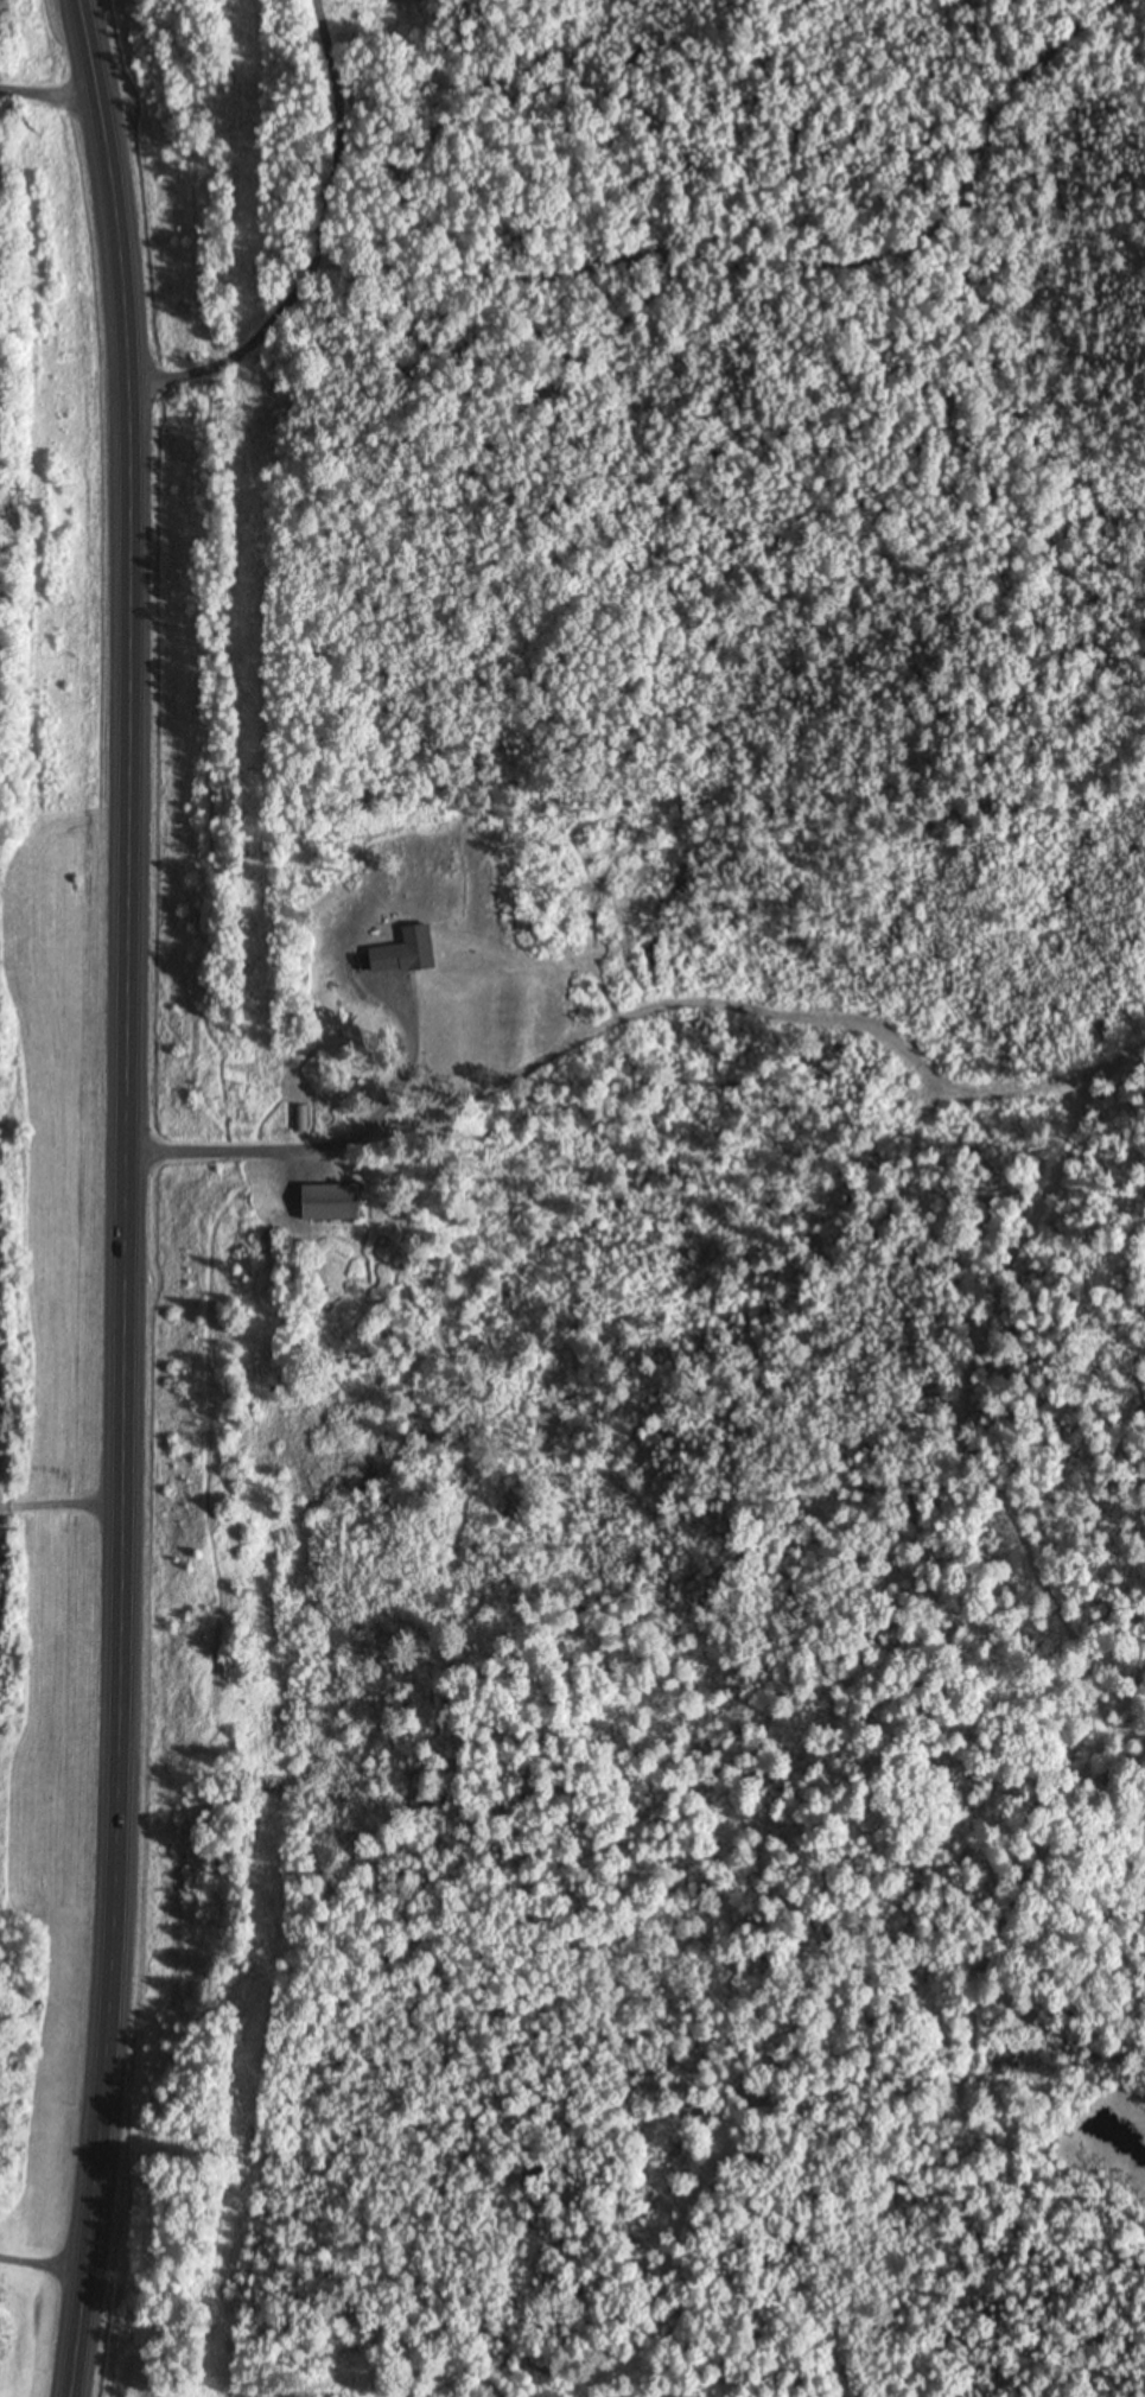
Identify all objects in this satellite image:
road: (132, 1197)
building: (325, 1203)
road: (618, 1563)
road: (878, 1736)

